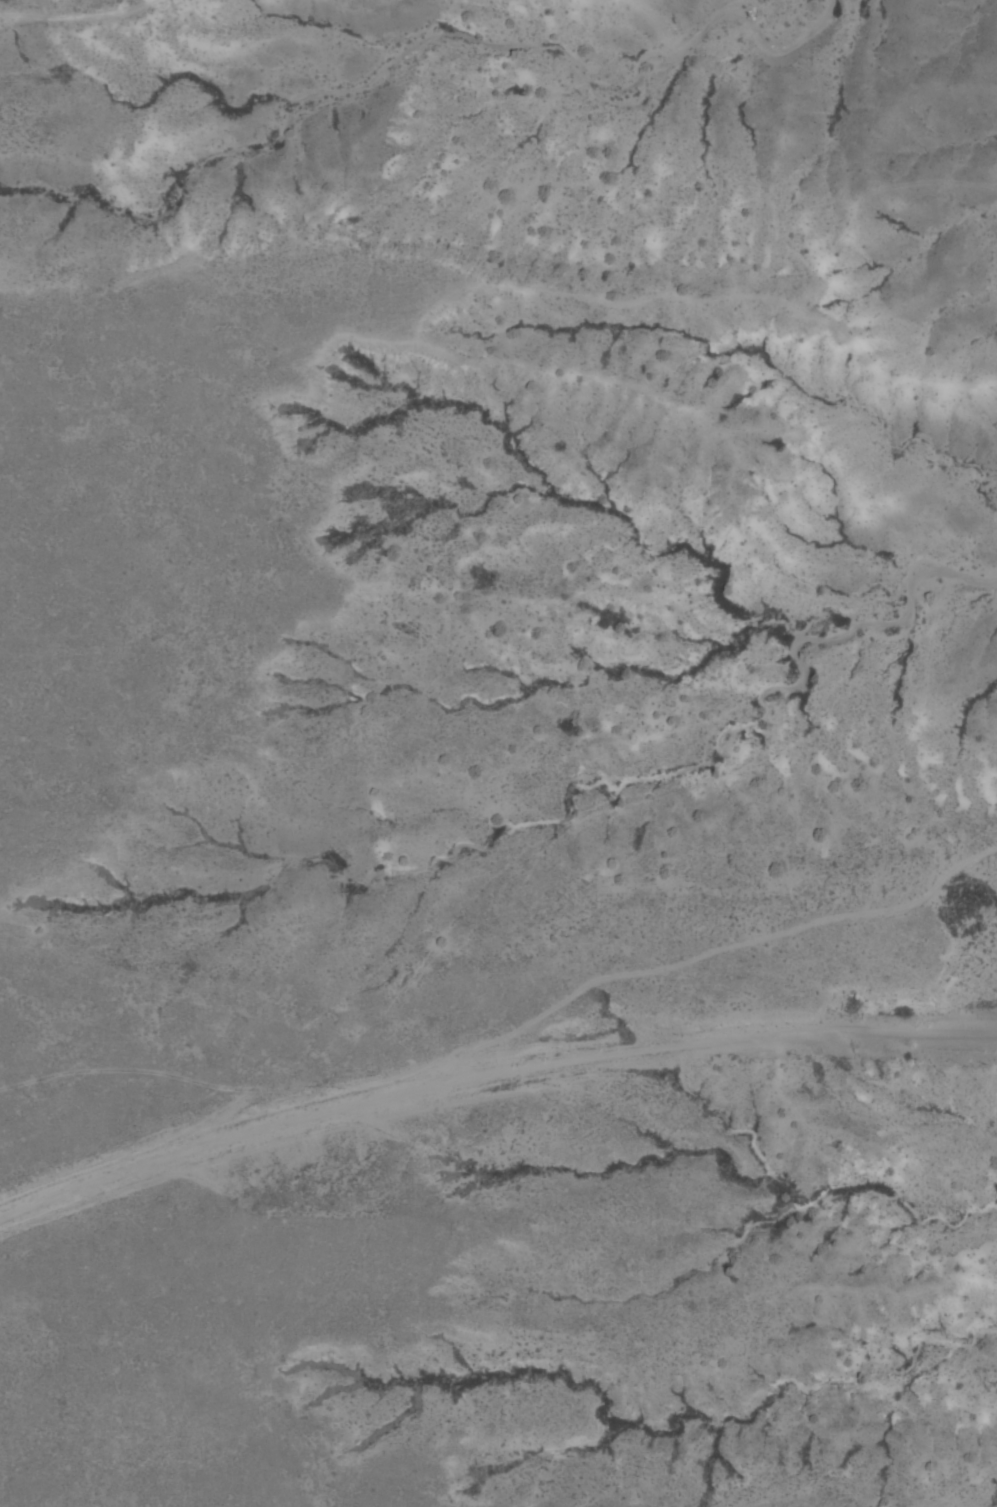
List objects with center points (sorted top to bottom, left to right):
road: (490, 1073)

